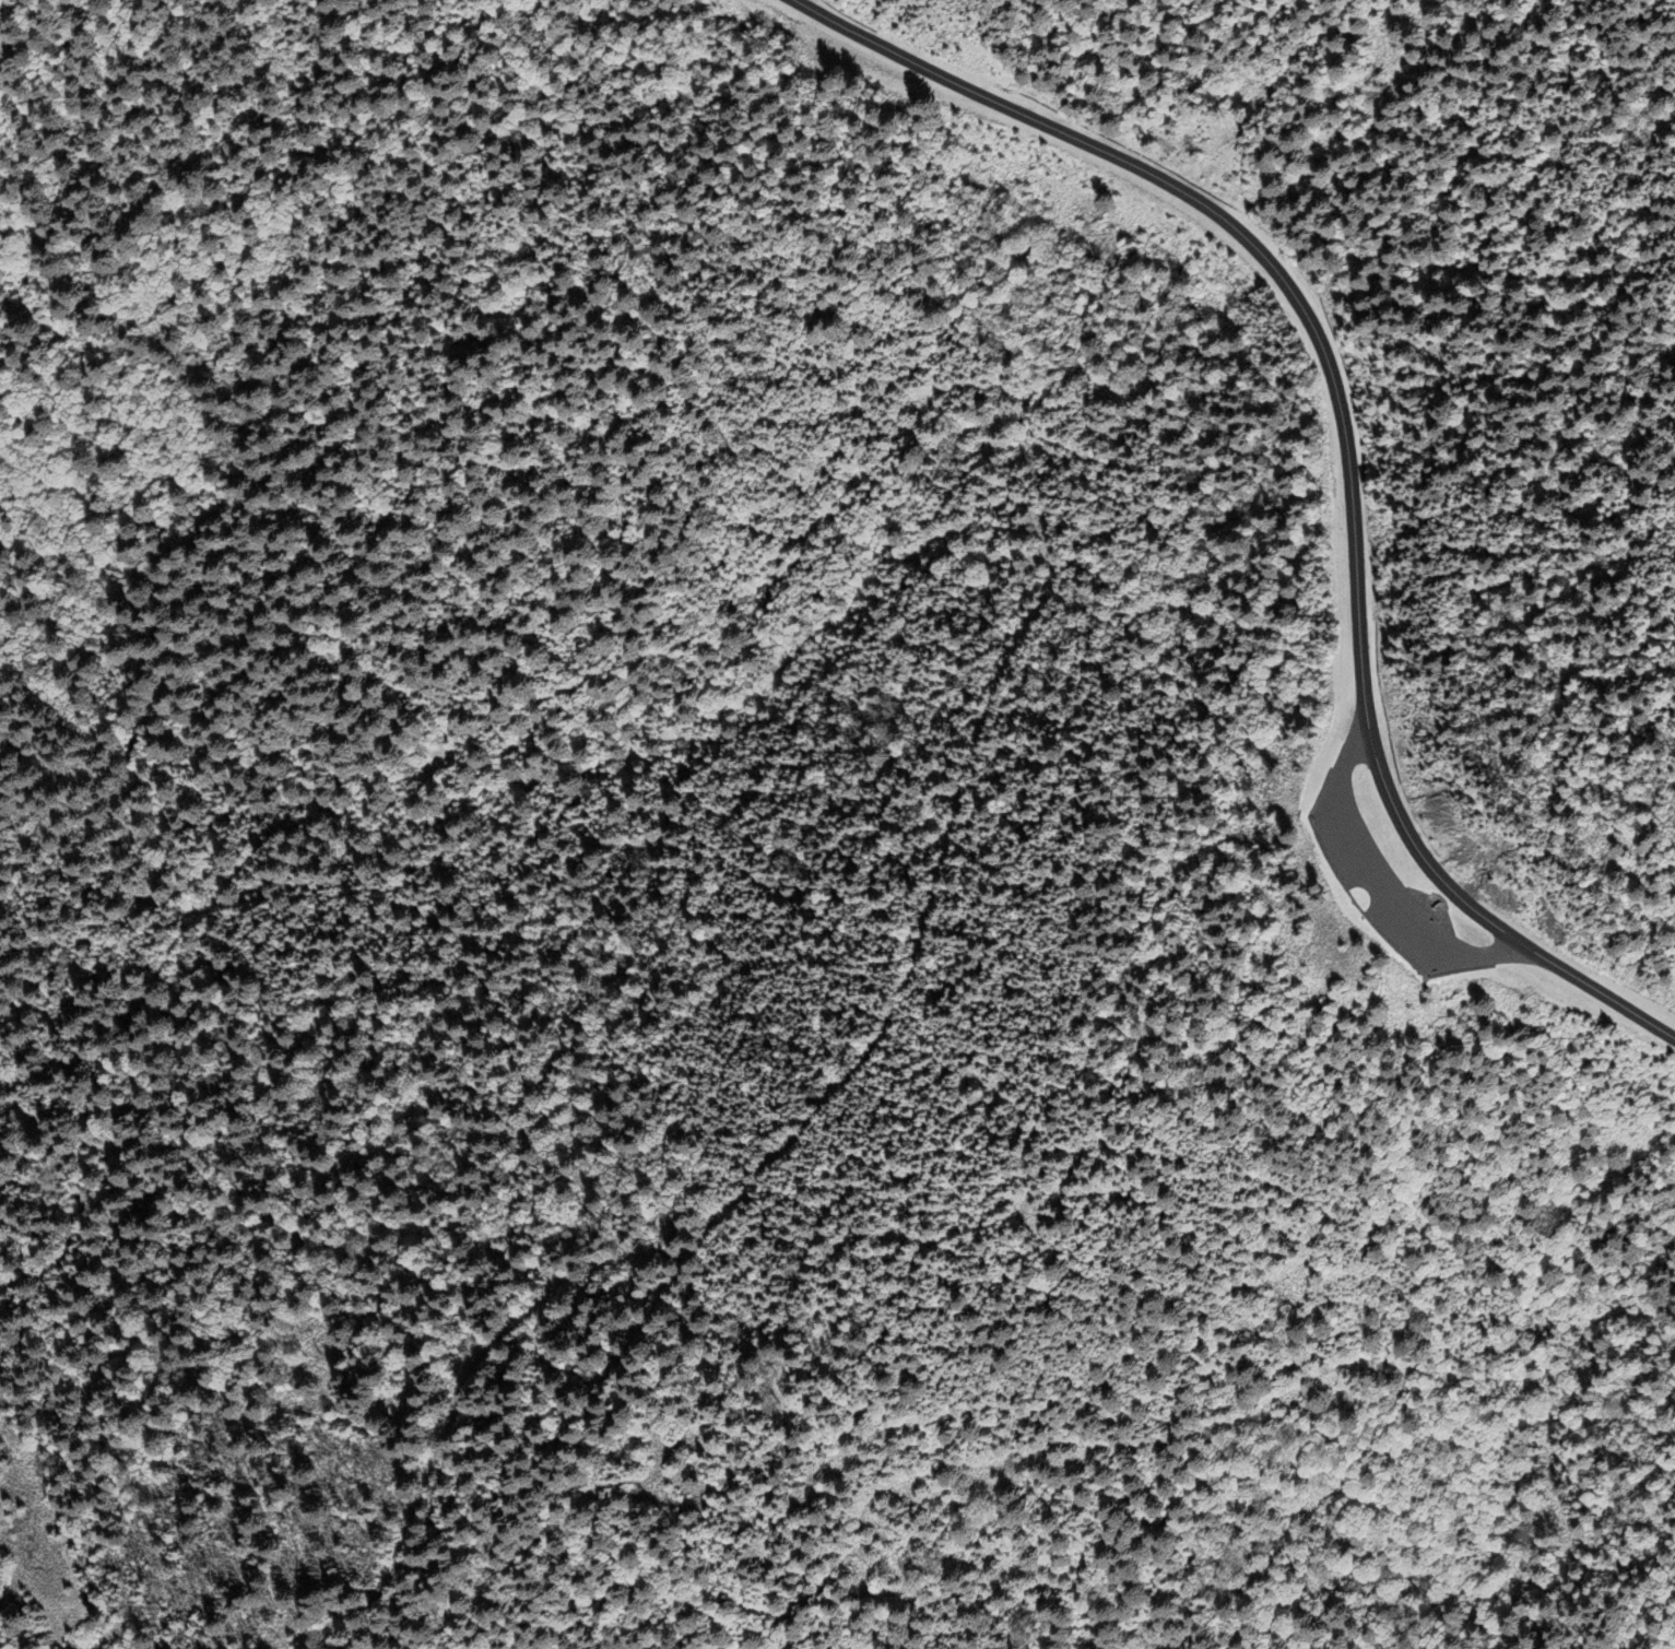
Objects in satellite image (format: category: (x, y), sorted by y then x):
road: (1674, 260)
road: (1345, 439)
road: (1570, 676)
road: (1383, 897)

